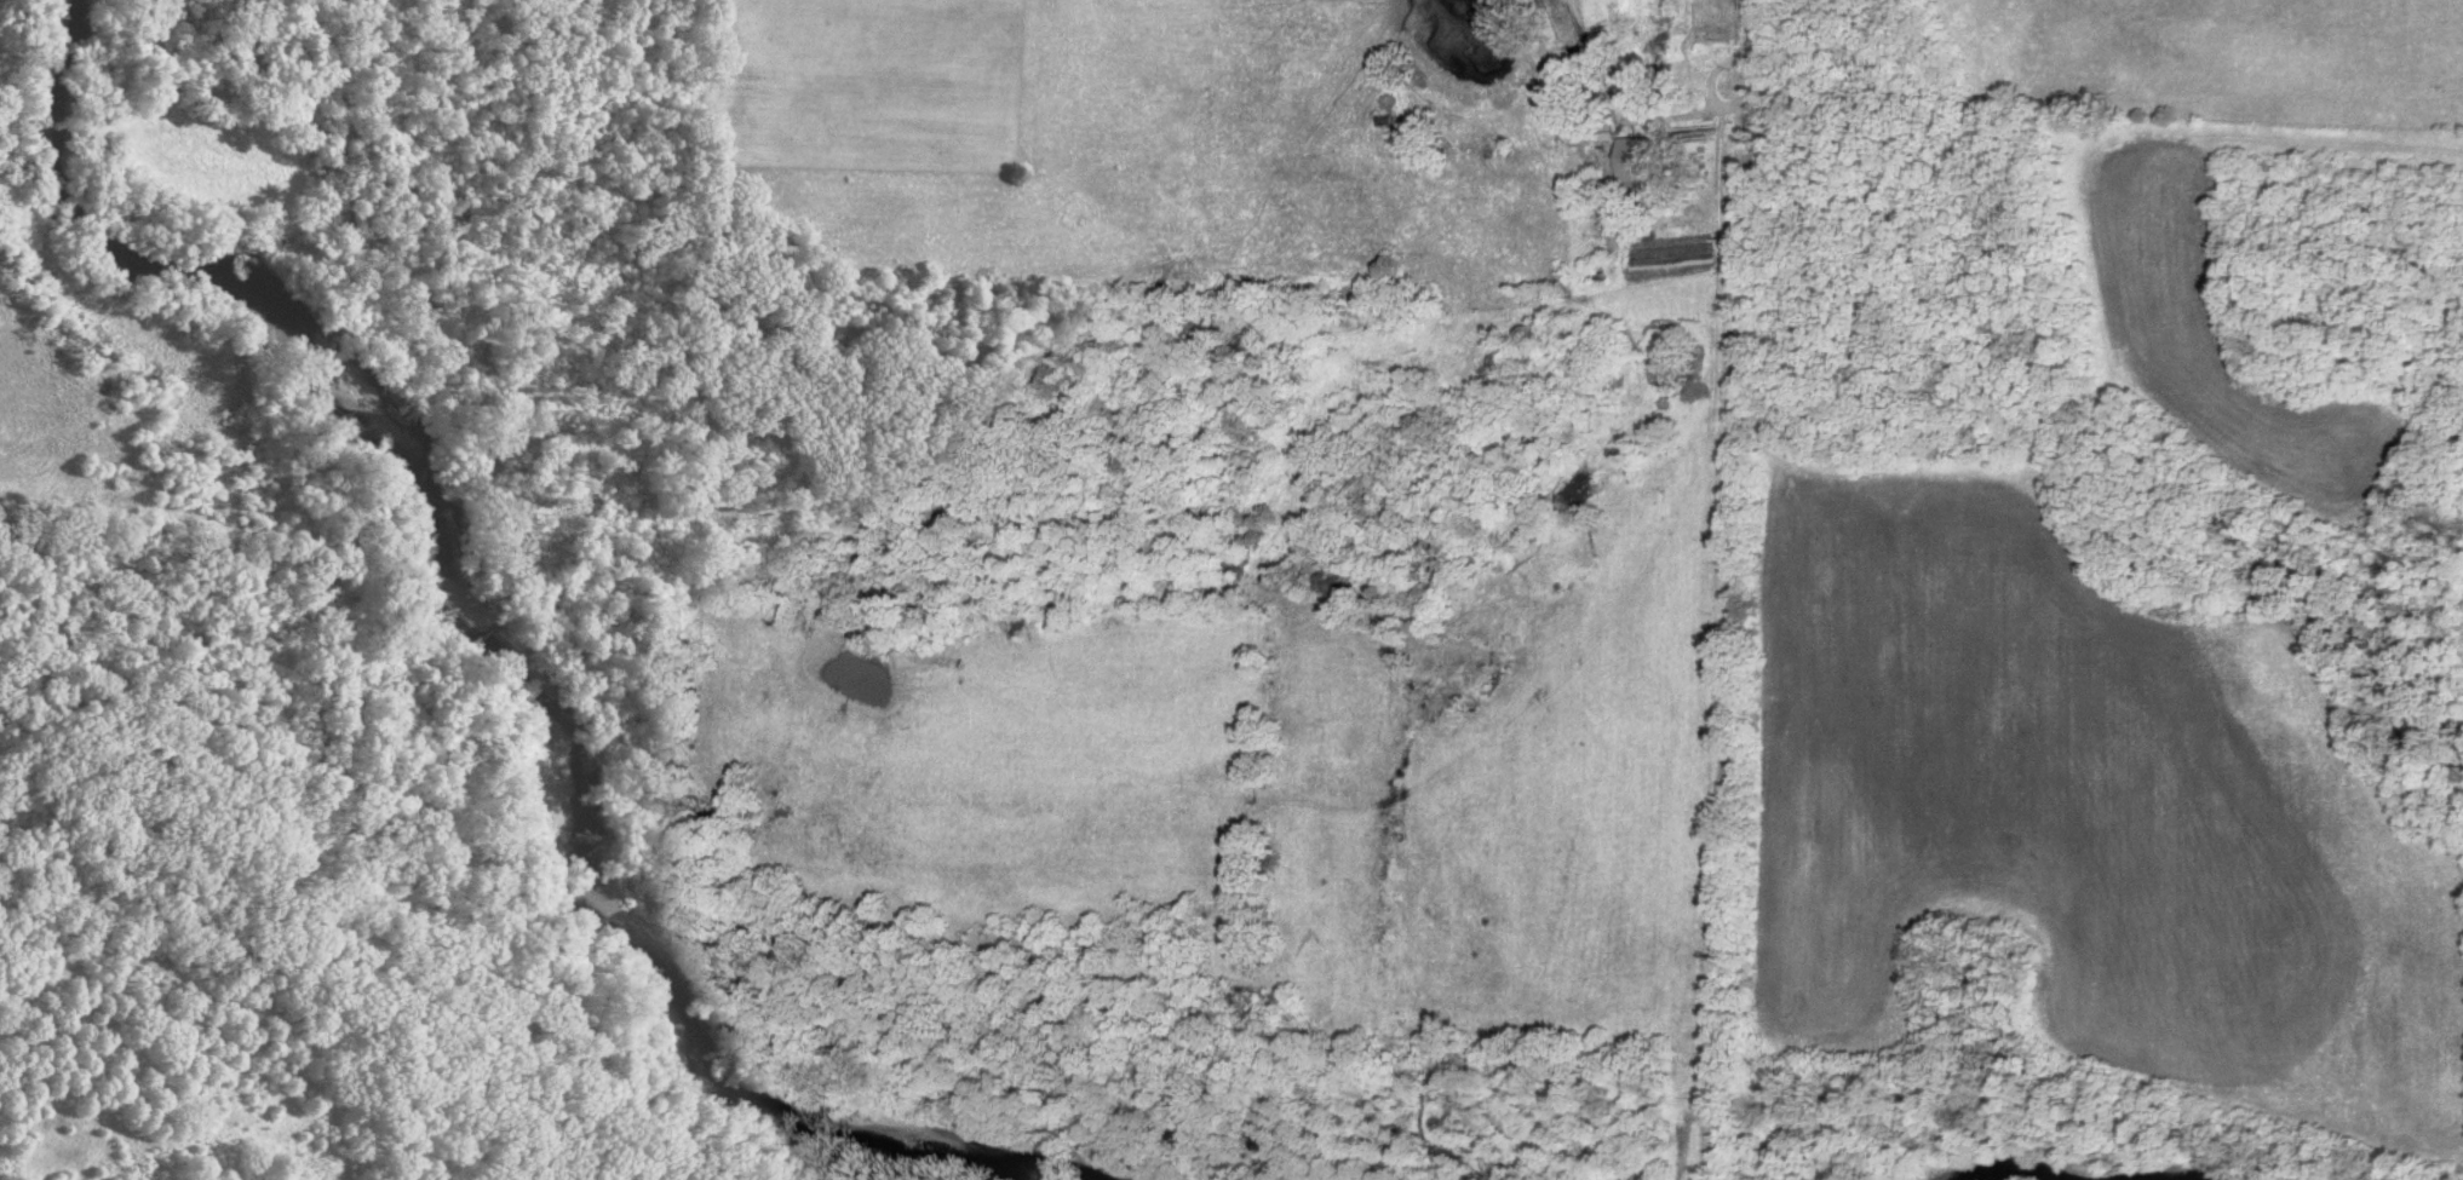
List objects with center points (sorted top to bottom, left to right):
building: (1626, 113)
building: (1388, 126)
road: (1730, 589)

